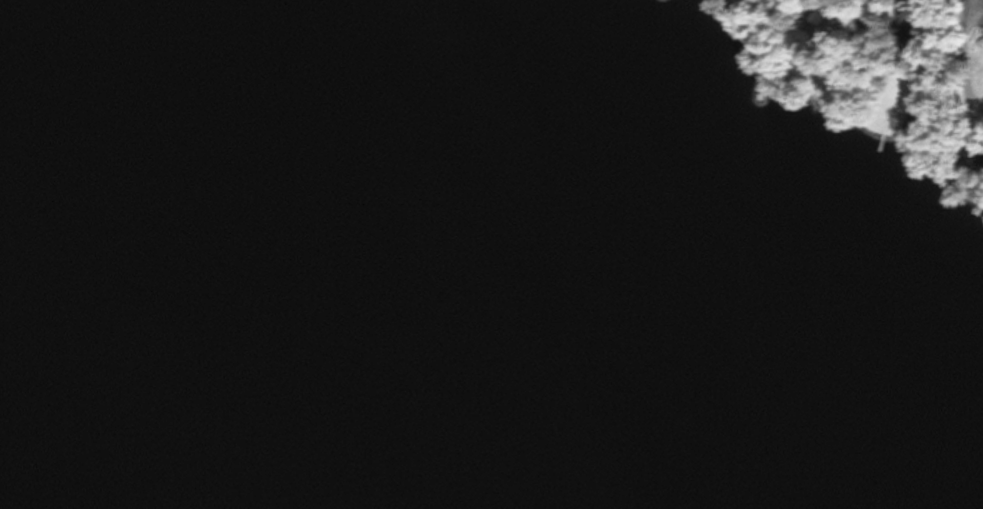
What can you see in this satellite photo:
building: (911, 20)
building: (978, 41)
building: (916, 125)
building: (976, 161)

